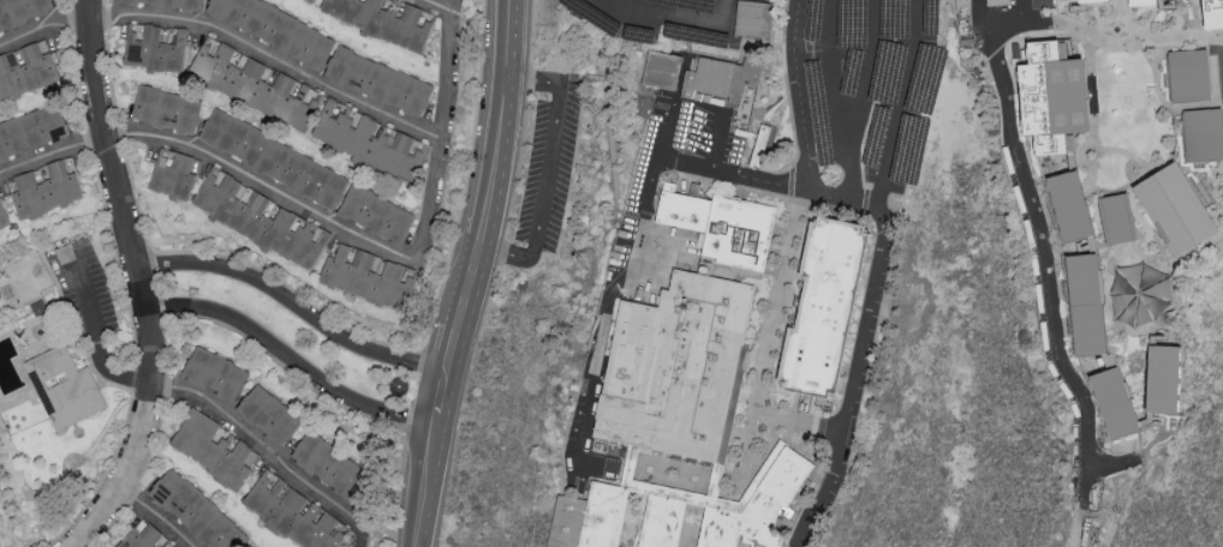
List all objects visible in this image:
building: (1079, 0)
building: (996, 1)
building: (1140, 1)
building: (178, 4)
road: (439, 5)
building: (20, 11)
building: (1188, 12)
building: (1212, 12)
building: (752, 17)
building: (387, 18)
road: (685, 19)
parking lot: (690, 20)
building: (276, 29)
road: (226, 35)
road: (997, 35)
building: (155, 44)
road: (816, 53)
road: (835, 64)
road: (872, 65)
building: (25, 67)
road: (448, 72)
building: (662, 72)
building: (1198, 73)
building: (721, 78)
building: (378, 79)
building: (253, 82)
road: (569, 83)
parking lot: (871, 86)
road: (803, 94)
building: (1051, 95)
road: (907, 102)
building: (166, 107)
road: (502, 126)
building: (31, 130)
building: (1204, 132)
building: (1124, 137)
building: (369, 139)
road: (722, 140)
building: (760, 144)
building: (274, 156)
road: (611, 160)
parking lot: (551, 161)
road: (852, 162)
building: (173, 172)
road: (553, 173)
road: (734, 174)
building: (44, 186)
road: (268, 192)
road: (649, 196)
road: (846, 197)
building: (1069, 204)
building: (376, 211)
building: (1197, 215)
building: (2, 217)
building: (261, 217)
building: (1116, 217)
building: (722, 227)
road: (650, 263)
road: (1046, 270)
road: (143, 281)
parking lot: (84, 294)
building: (1085, 302)
road: (294, 303)
building: (824, 307)
road: (95, 344)
road: (771, 347)
road: (292, 360)
building: (674, 368)
building: (215, 371)
road: (592, 371)
road: (855, 378)
building: (1162, 378)
fountain: (396, 387)
building: (62, 389)
road: (436, 396)
building: (1114, 401)
building: (268, 413)
building: (211, 446)
road: (274, 451)
building: (327, 462)
road: (1112, 464)
building: (638, 492)
road: (163, 511)
building: (293, 512)
building: (144, 536)

